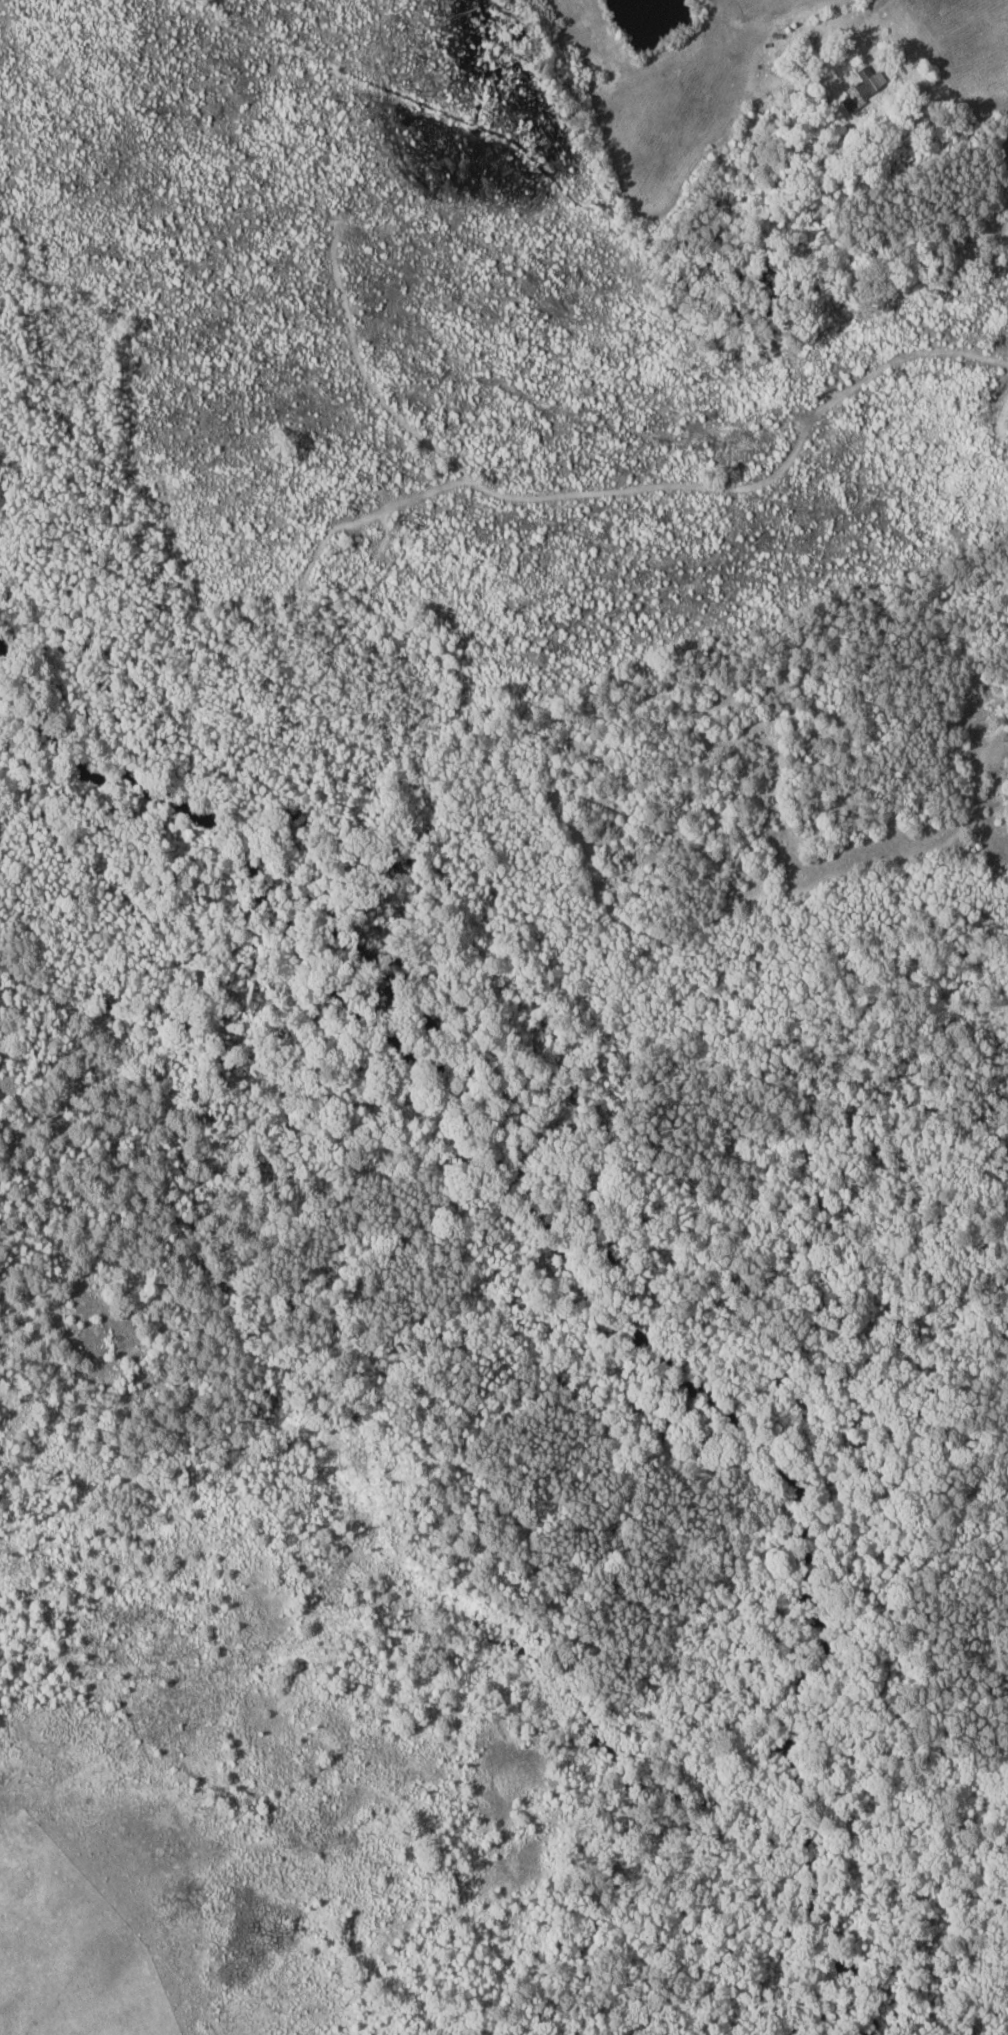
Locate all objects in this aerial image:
building: (863, 88)

